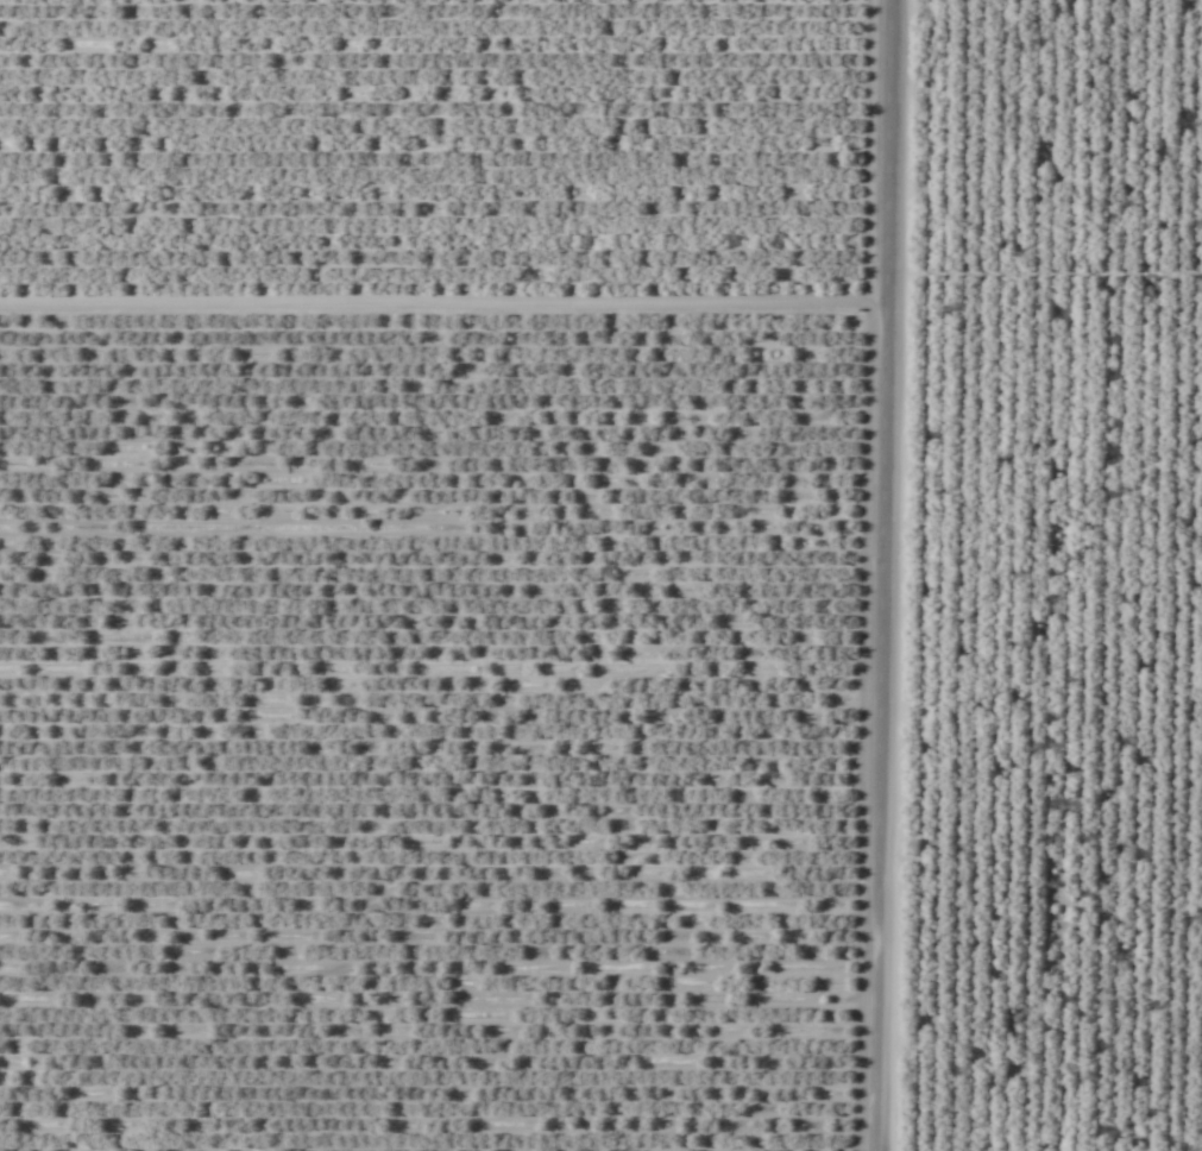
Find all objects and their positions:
crop: (600, 575)
road: (881, 575)

